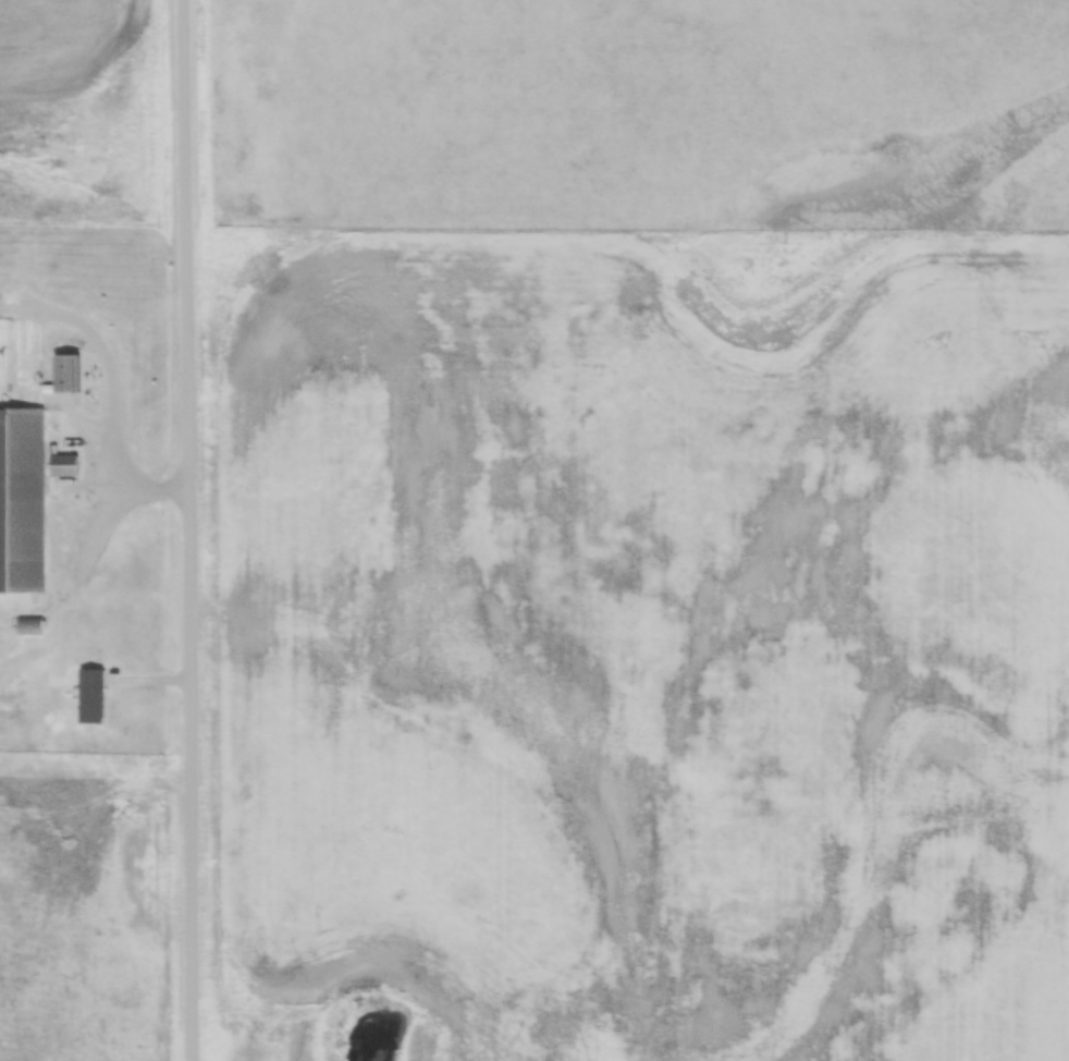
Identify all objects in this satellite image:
building: (24, 443)
building: (60, 464)
road: (186, 530)
building: (87, 695)

